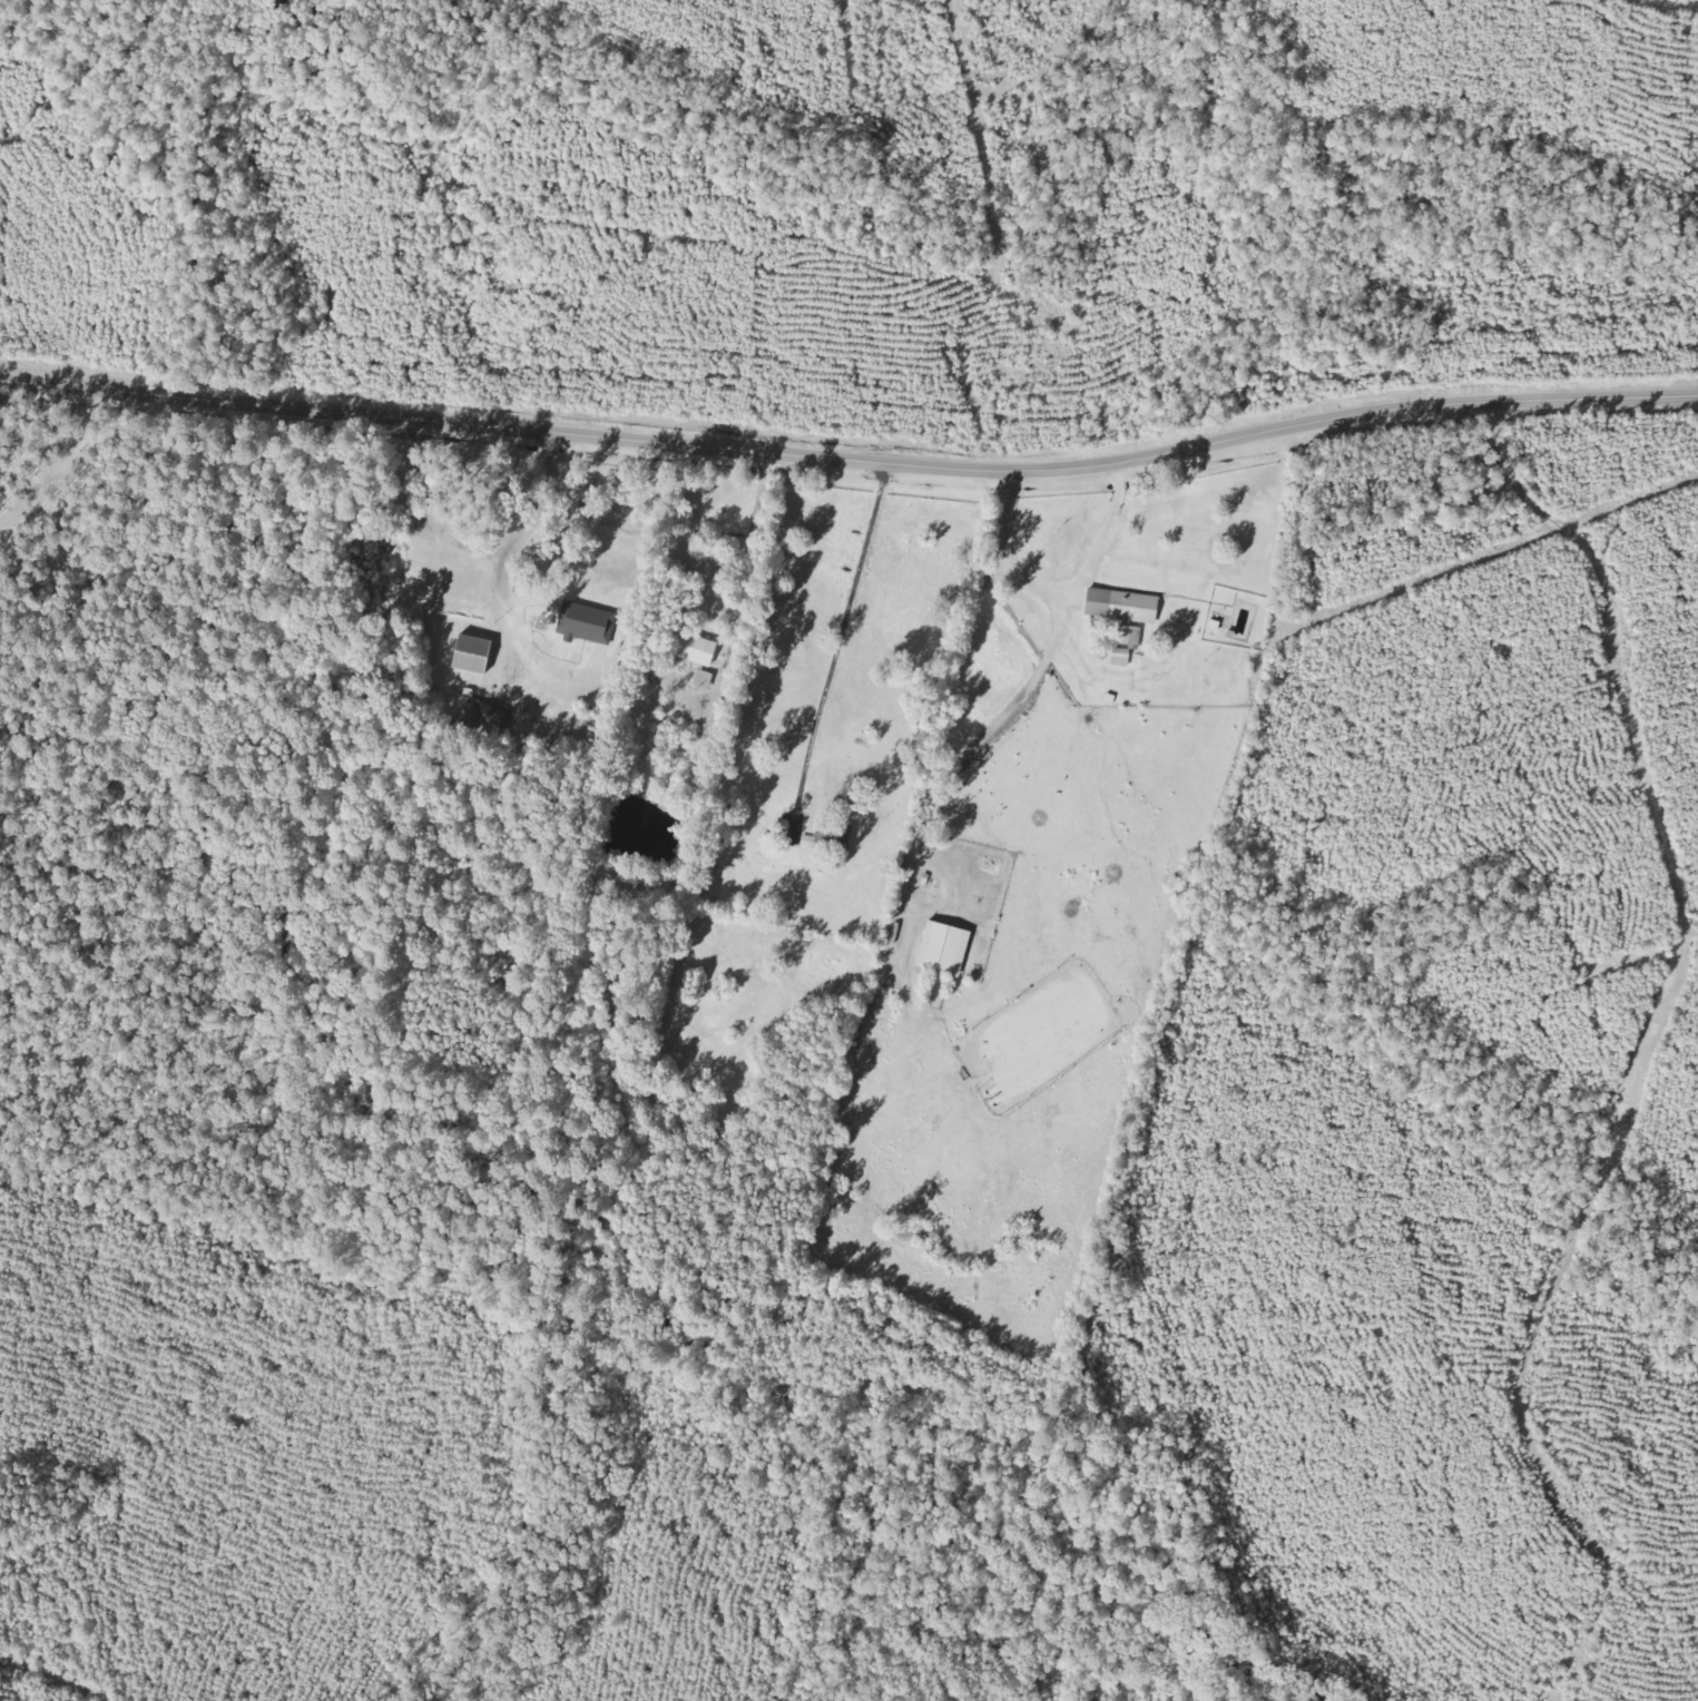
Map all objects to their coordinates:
road: (850, 462)
building: (453, 582)
building: (1126, 610)
building: (588, 622)
building: (695, 647)
building: (475, 653)
building: (1122, 657)
building: (488, 719)
building: (832, 835)
building: (944, 947)

